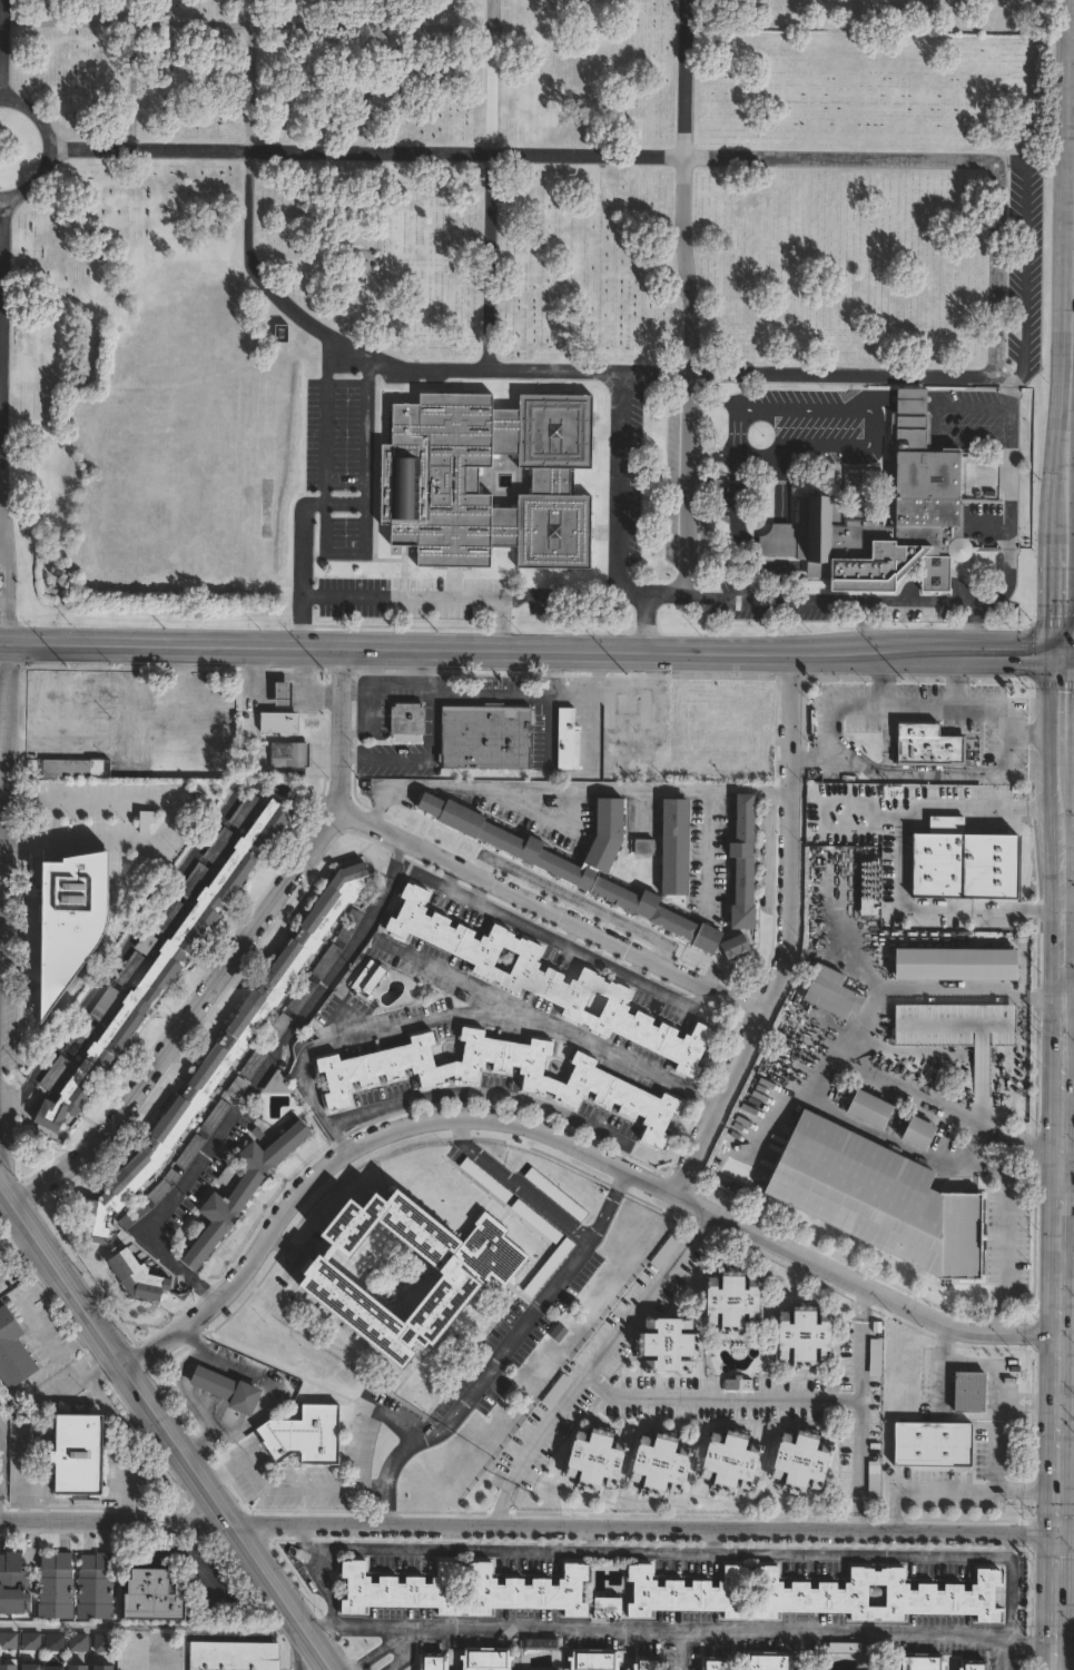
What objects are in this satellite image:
road: (129, 23)
road: (334, 23)
road: (442, 27)
road: (1, 50)
road: (691, 78)
road: (382, 89)
road: (49, 149)
road: (561, 154)
road: (1073, 286)
park: (521, 308)
road: (1071, 309)
building: (286, 334)
road: (689, 358)
road: (411, 363)
road: (946, 364)
road: (3, 379)
road: (874, 417)
road: (364, 444)
road: (7, 452)
building: (930, 474)
building: (491, 478)
road: (323, 492)
road: (1065, 537)
road: (656, 586)
road: (462, 597)
road: (854, 600)
road: (643, 619)
road: (500, 624)
road: (864, 628)
road: (396, 650)
road: (861, 654)
road: (995, 656)
traffic signals: (1062, 658)
road: (1067, 658)
road: (594, 669)
road: (374, 672)
road: (411, 672)
road: (536, 673)
road: (885, 682)
road: (955, 683)
building: (284, 694)
road: (385, 694)
road: (492, 695)
building: (75, 705)
road: (909, 710)
building: (720, 712)
building: (408, 720)
building: (280, 722)
road: (342, 724)
road: (370, 724)
building: (487, 738)
building: (570, 740)
building: (926, 742)
building: (138, 747)
road: (1060, 748)
building: (292, 758)
road: (935, 775)
road: (571, 785)
road: (1066, 807)
building: (245, 809)
parking lot: (245, 809)
road: (168, 822)
road: (765, 843)
building: (219, 844)
parking lot: (219, 844)
building: (677, 847)
building: (642, 848)
road: (707, 848)
road: (396, 852)
road: (896, 859)
building: (745, 862)
building: (962, 862)
building: (577, 873)
building: (194, 880)
parking lot: (194, 880)
road: (553, 910)
building: (169, 916)
parking lot: (169, 916)
building: (82, 925)
building: (351, 926)
parking lot: (351, 926)
road: (786, 935)
building: (147, 943)
parking lot: (147, 943)
building: (736, 946)
road: (1056, 948)
building: (327, 961)
parking lot: (327, 961)
building: (978, 961)
building: (168, 966)
building: (130, 969)
parking lot: (130, 969)
road: (445, 972)
building: (370, 980)
building: (551, 981)
road: (930, 984)
building: (831, 991)
building: (303, 996)
parking lot: (303, 996)
building: (105, 1004)
parking lot: (105, 1004)
road: (457, 1014)
road: (198, 1016)
building: (277, 1030)
parking lot: (277, 1030)
building: (80, 1038)
parking lot: (80, 1038)
building: (224, 1054)
building: (255, 1064)
parking lot: (255, 1064)
building: (56, 1073)
parking lot: (56, 1073)
road: (255, 1084)
road: (1064, 1084)
building: (278, 1085)
building: (582, 1087)
building: (237, 1088)
parking lot: (237, 1088)
road: (787, 1096)
road: (947, 1105)
road: (1054, 1107)
building: (870, 1108)
building: (216, 1116)
parking lot: (216, 1116)
road: (1064, 1124)
road: (456, 1129)
building: (918, 1133)
road: (364, 1145)
building: (191, 1152)
parking lot: (191, 1152)
road: (1063, 1162)
road: (617, 1178)
road: (1002, 1186)
building: (160, 1190)
parking lot: (160, 1190)
road: (523, 1192)
building: (239, 1193)
road: (1053, 1197)
building: (881, 1199)
building: (136, 1215)
parking lot: (136, 1215)
road: (599, 1216)
building: (663, 1251)
building: (397, 1271)
road: (66, 1275)
building: (136, 1278)
road: (1052, 1278)
road: (855, 1284)
road: (207, 1292)
building: (732, 1300)
road: (1063, 1318)
road: (1052, 1326)
building: (805, 1334)
road: (516, 1335)
building: (668, 1344)
building: (11, 1352)
road: (1052, 1354)
building: (874, 1356)
road: (599, 1362)
road: (968, 1364)
building: (739, 1384)
building: (224, 1389)
building: (969, 1392)
road: (181, 1394)
road: (721, 1394)
road: (1026, 1403)
building: (3, 1404)
road: (856, 1409)
road: (1063, 1414)
road: (1053, 1432)
building: (302, 1435)
building: (934, 1443)
building: (77, 1455)
building: (595, 1457)
building: (801, 1459)
road: (239, 1460)
building: (730, 1460)
road: (395, 1461)
building: (660, 1463)
road: (1, 1478)
building: (873, 1478)
road: (328, 1489)
road: (953, 1489)
road: (1053, 1511)
road: (233, 1520)
road: (525, 1524)
road: (1063, 1534)
road: (653, 1554)
road: (1064, 1564)
building: (16, 1584)
building: (98, 1585)
building: (58, 1588)
building: (465, 1590)
building: (816, 1594)
building: (150, 1595)
road: (1054, 1601)
building: (609, 1605)
road: (1064, 1612)
road: (508, 1624)
road: (149, 1625)
road: (848, 1632)
building: (27, 1639)
building: (8, 1640)
building: (52, 1641)
building: (78, 1641)
building: (541, 1641)
building: (104, 1642)
building: (845, 1644)
road: (302, 1649)
road: (145, 1650)
road: (380, 1650)
building: (233, 1656)
road: (1005, 1657)
building: (487, 1659)
building: (595, 1660)
building: (435, 1661)
building: (770, 1661)
building: (922, 1661)
building: (649, 1662)
building: (716, 1663)
building: (974, 1664)
building: (9, 1667)
building: (32, 1667)
building: (56, 1667)
building: (79, 1667)
building: (105, 1667)

